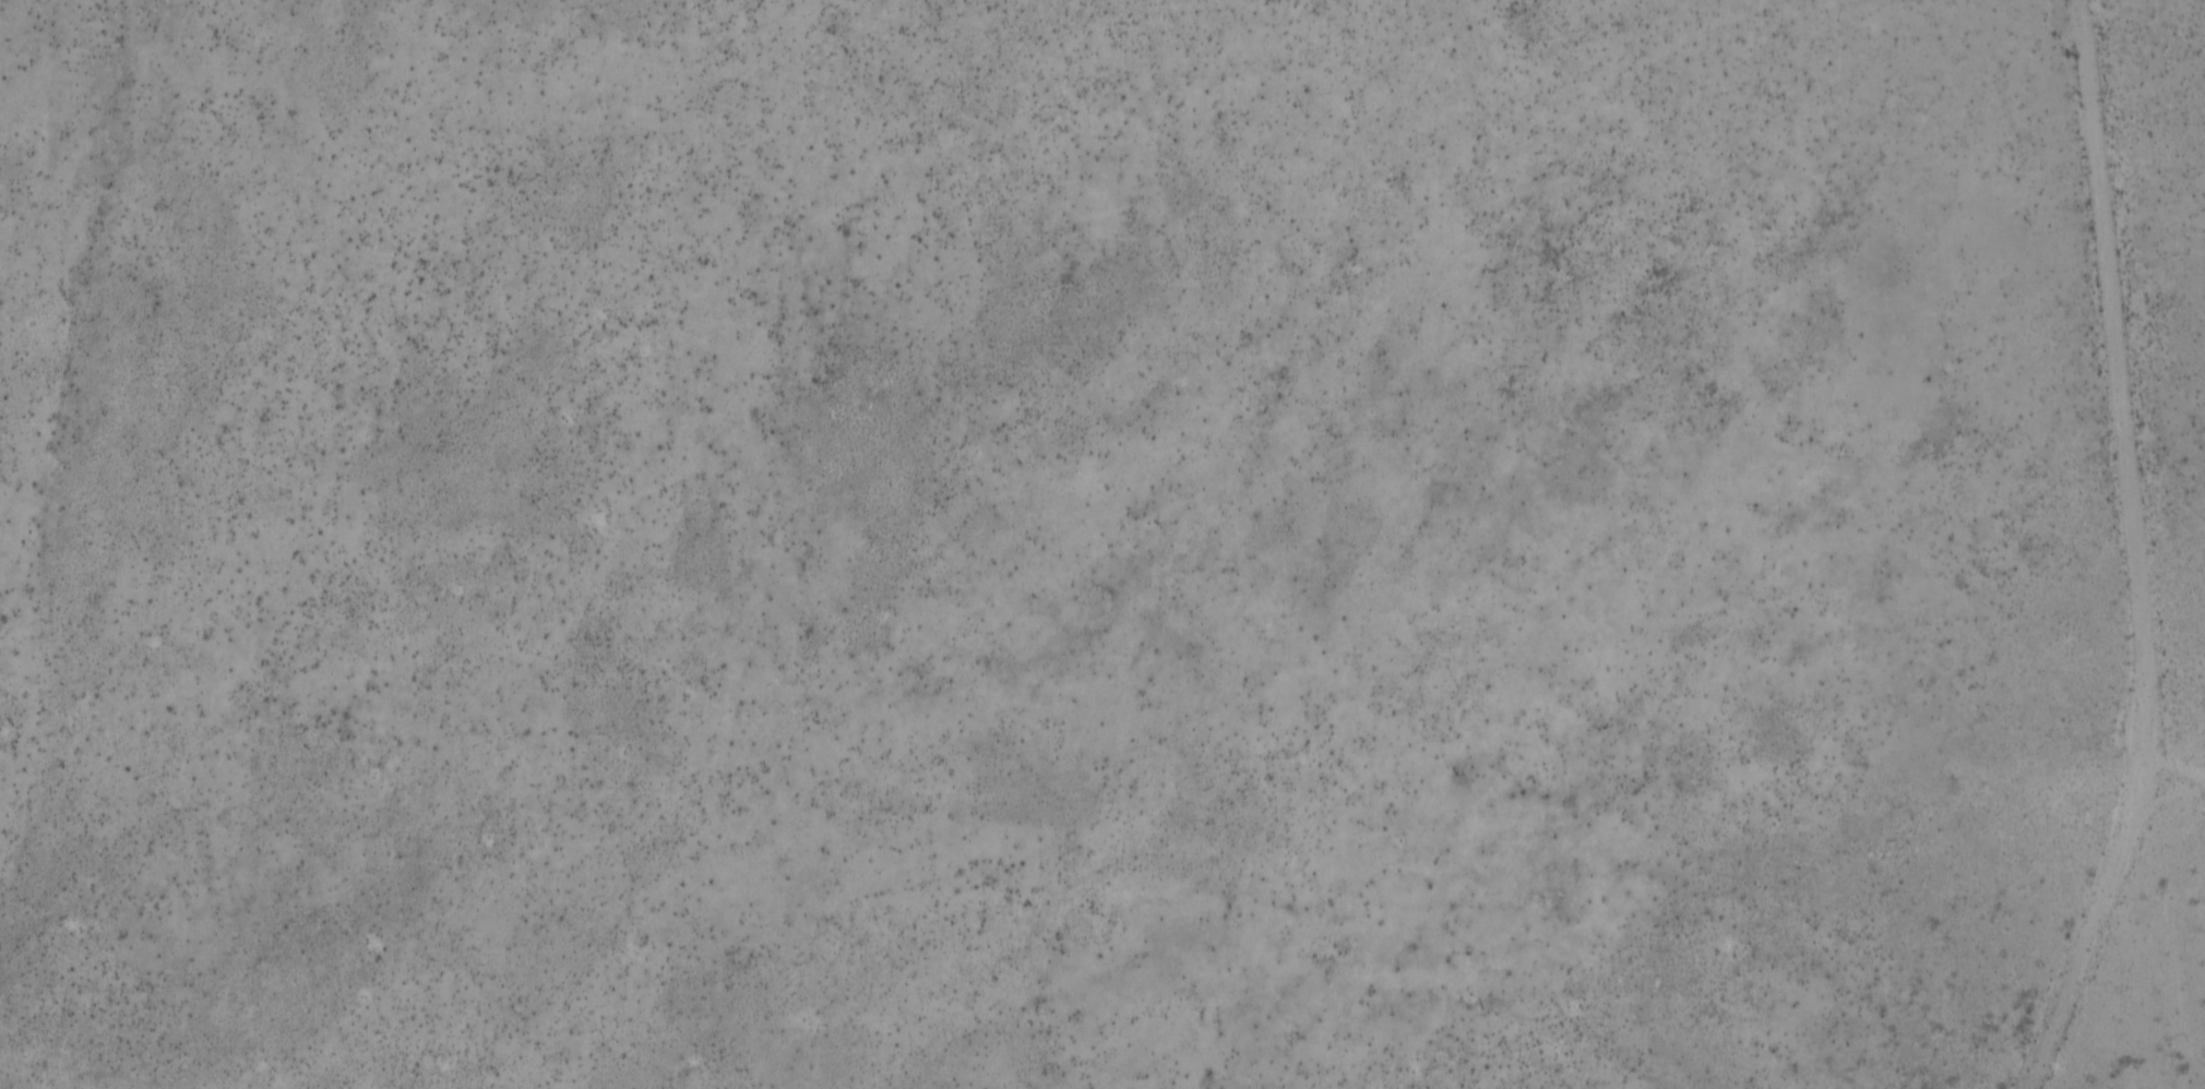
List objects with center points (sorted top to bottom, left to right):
road: (2118, 380)
road: (2177, 773)
road: (2089, 925)

